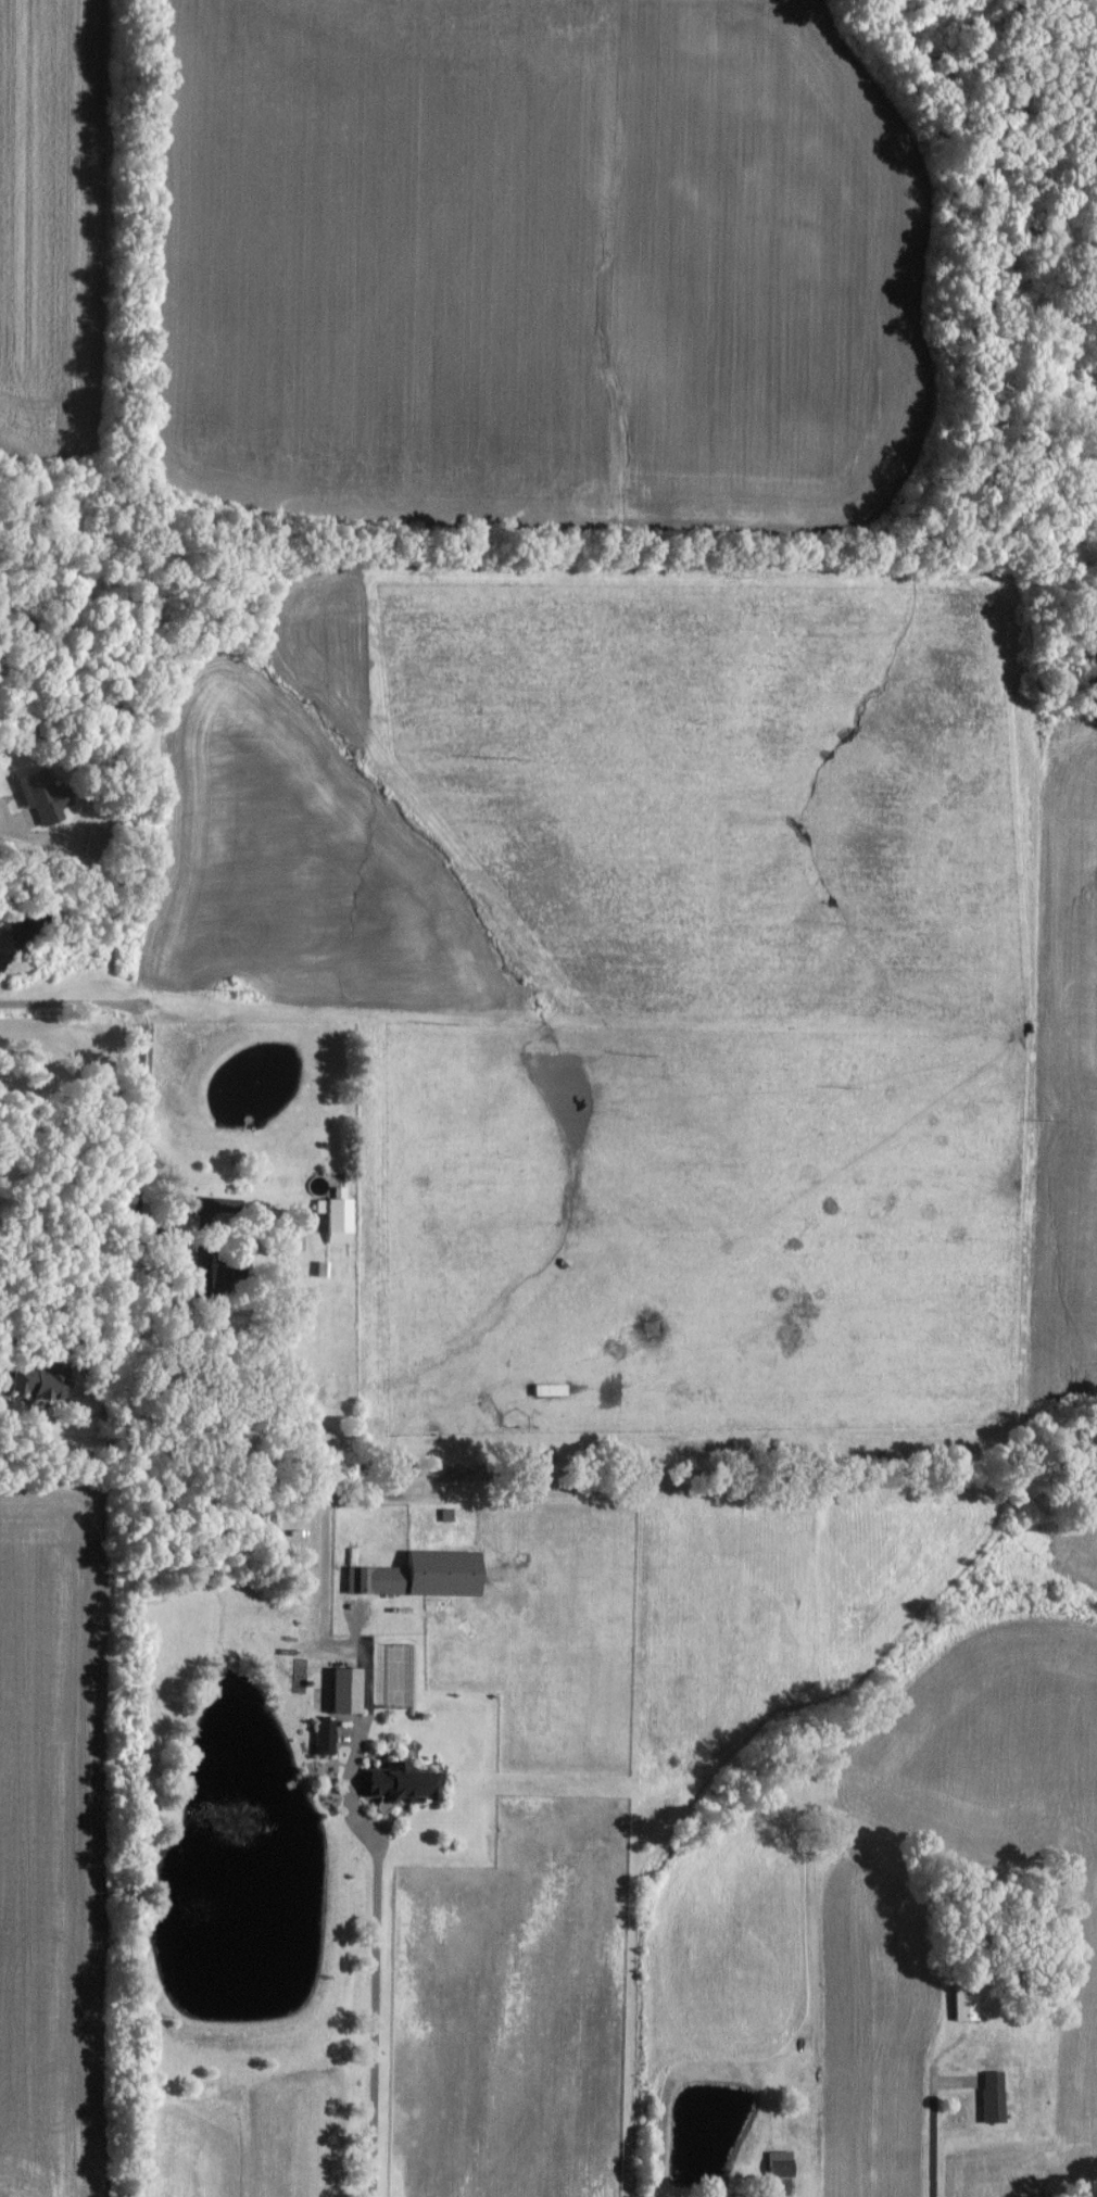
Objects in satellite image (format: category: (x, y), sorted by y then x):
building: (46, 796)
road: (33, 834)
road: (135, 1025)
building: (342, 1215)
building: (47, 1388)
road: (1, 1401)
building: (428, 1575)
building: (352, 1690)
building: (329, 1737)
building: (409, 1783)
road: (374, 1959)
building: (992, 2096)
road: (931, 2137)
building: (780, 2163)
road: (780, 2196)

